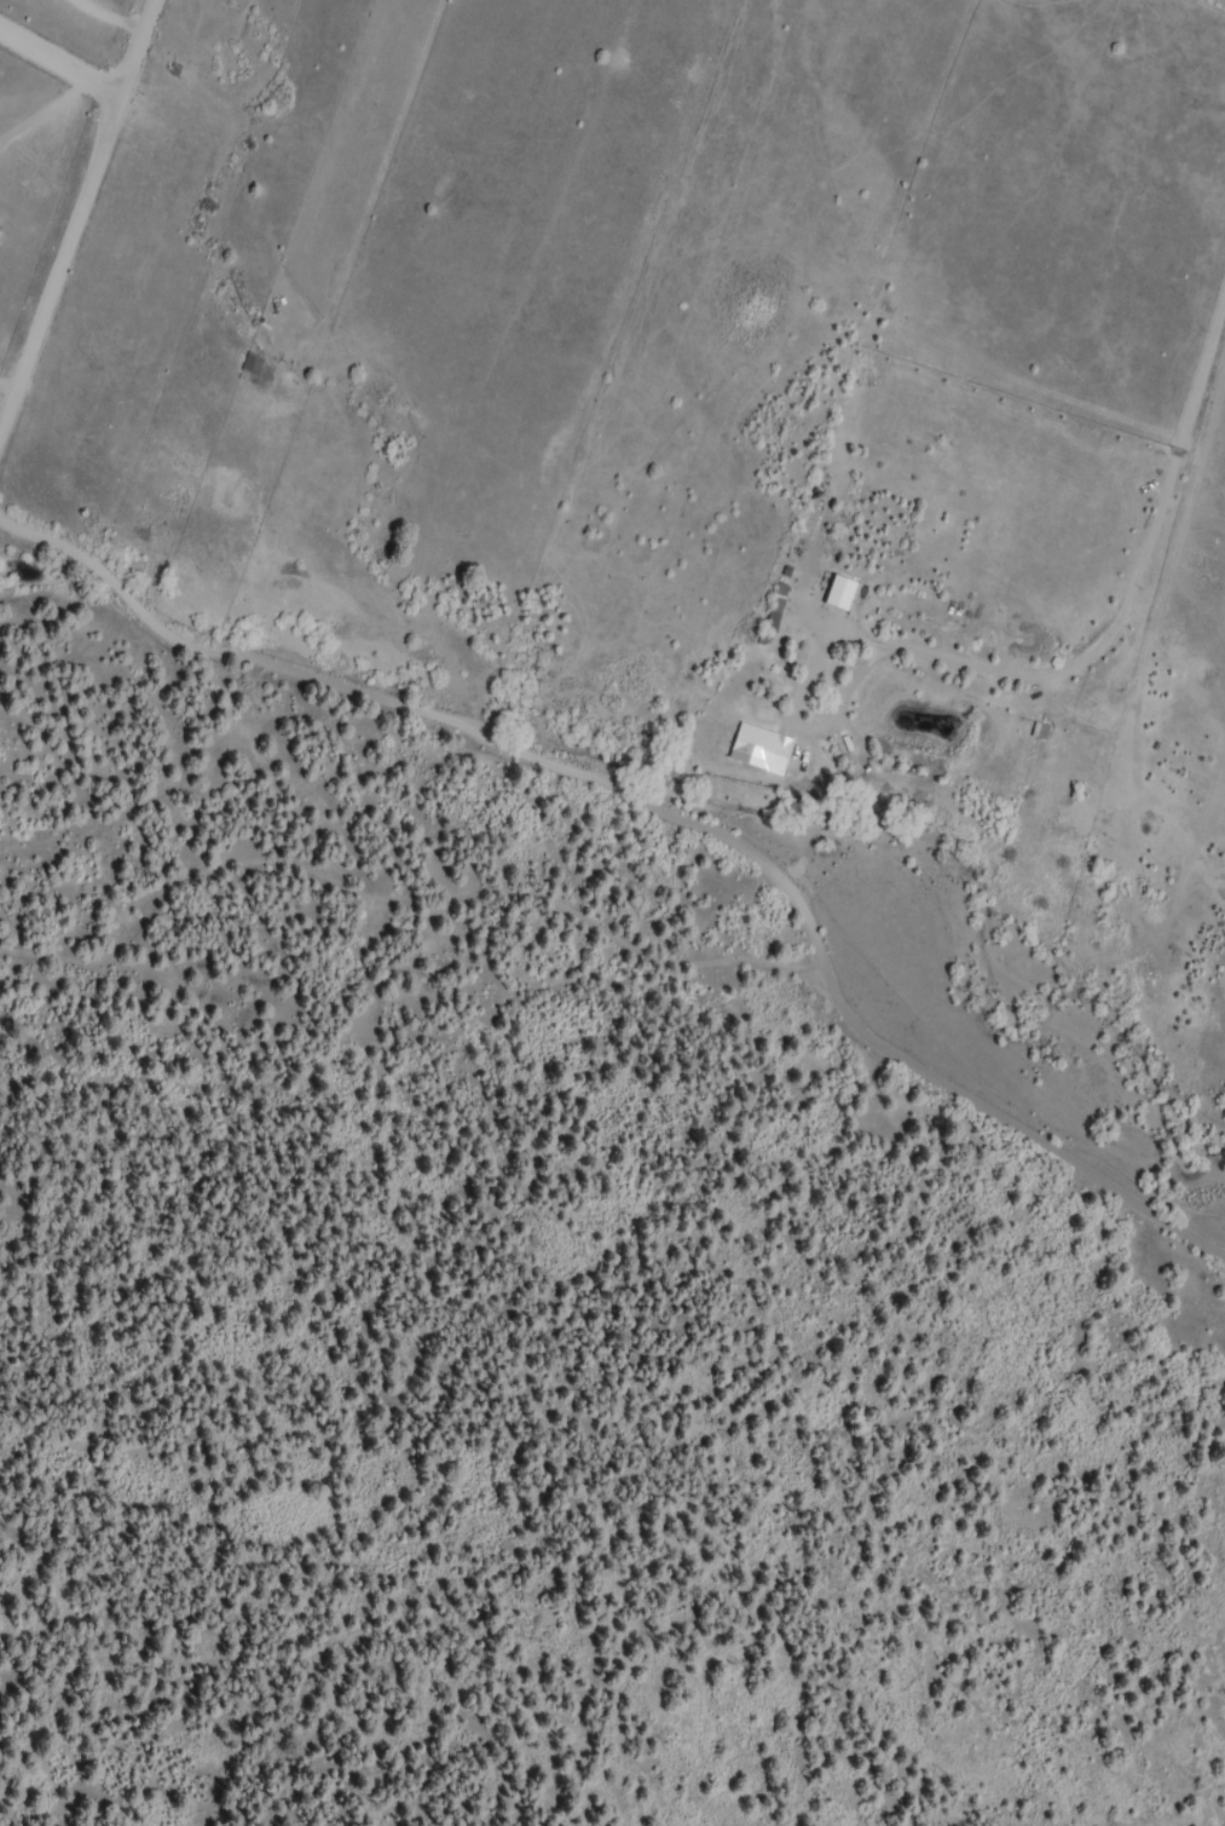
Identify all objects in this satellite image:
road: (93, 52)
road: (1138, 154)
building: (254, 365)
building: (779, 610)
road: (467, 720)
building: (767, 749)

